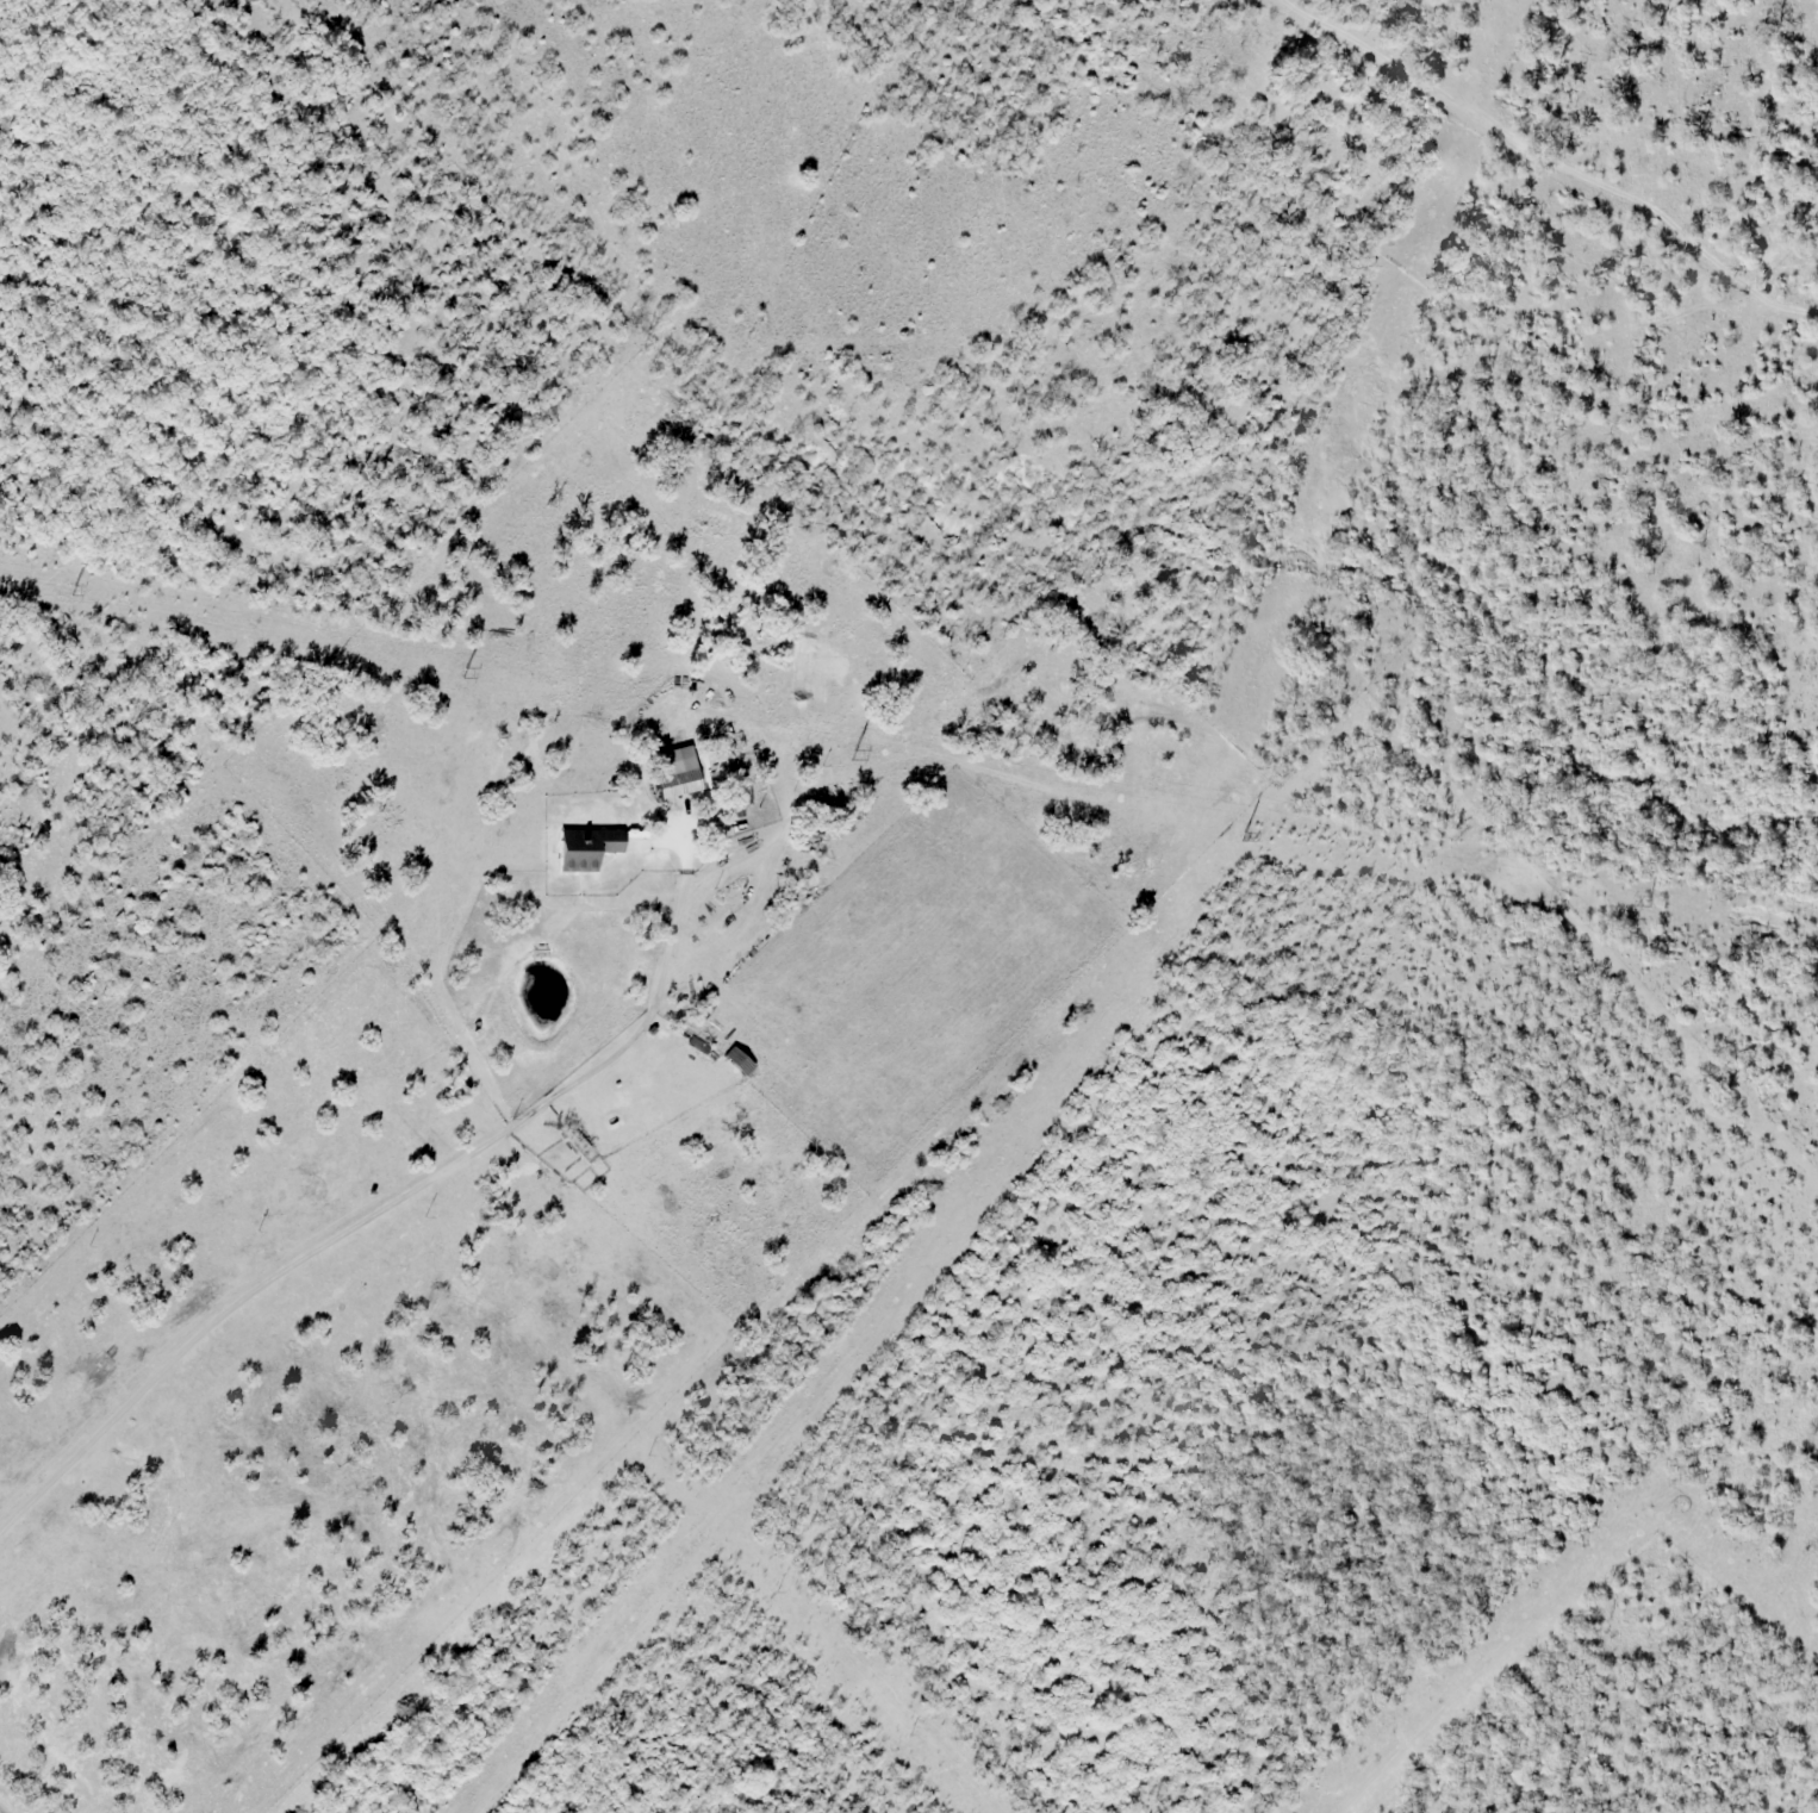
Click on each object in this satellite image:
road: (1552, 164)
power tower: (76, 586)
power tower: (462, 671)
power tower: (854, 754)
building: (677, 772)
power tower: (1244, 834)
building: (589, 847)
power tower: (1650, 899)
building: (740, 1060)
road: (378, 1211)

